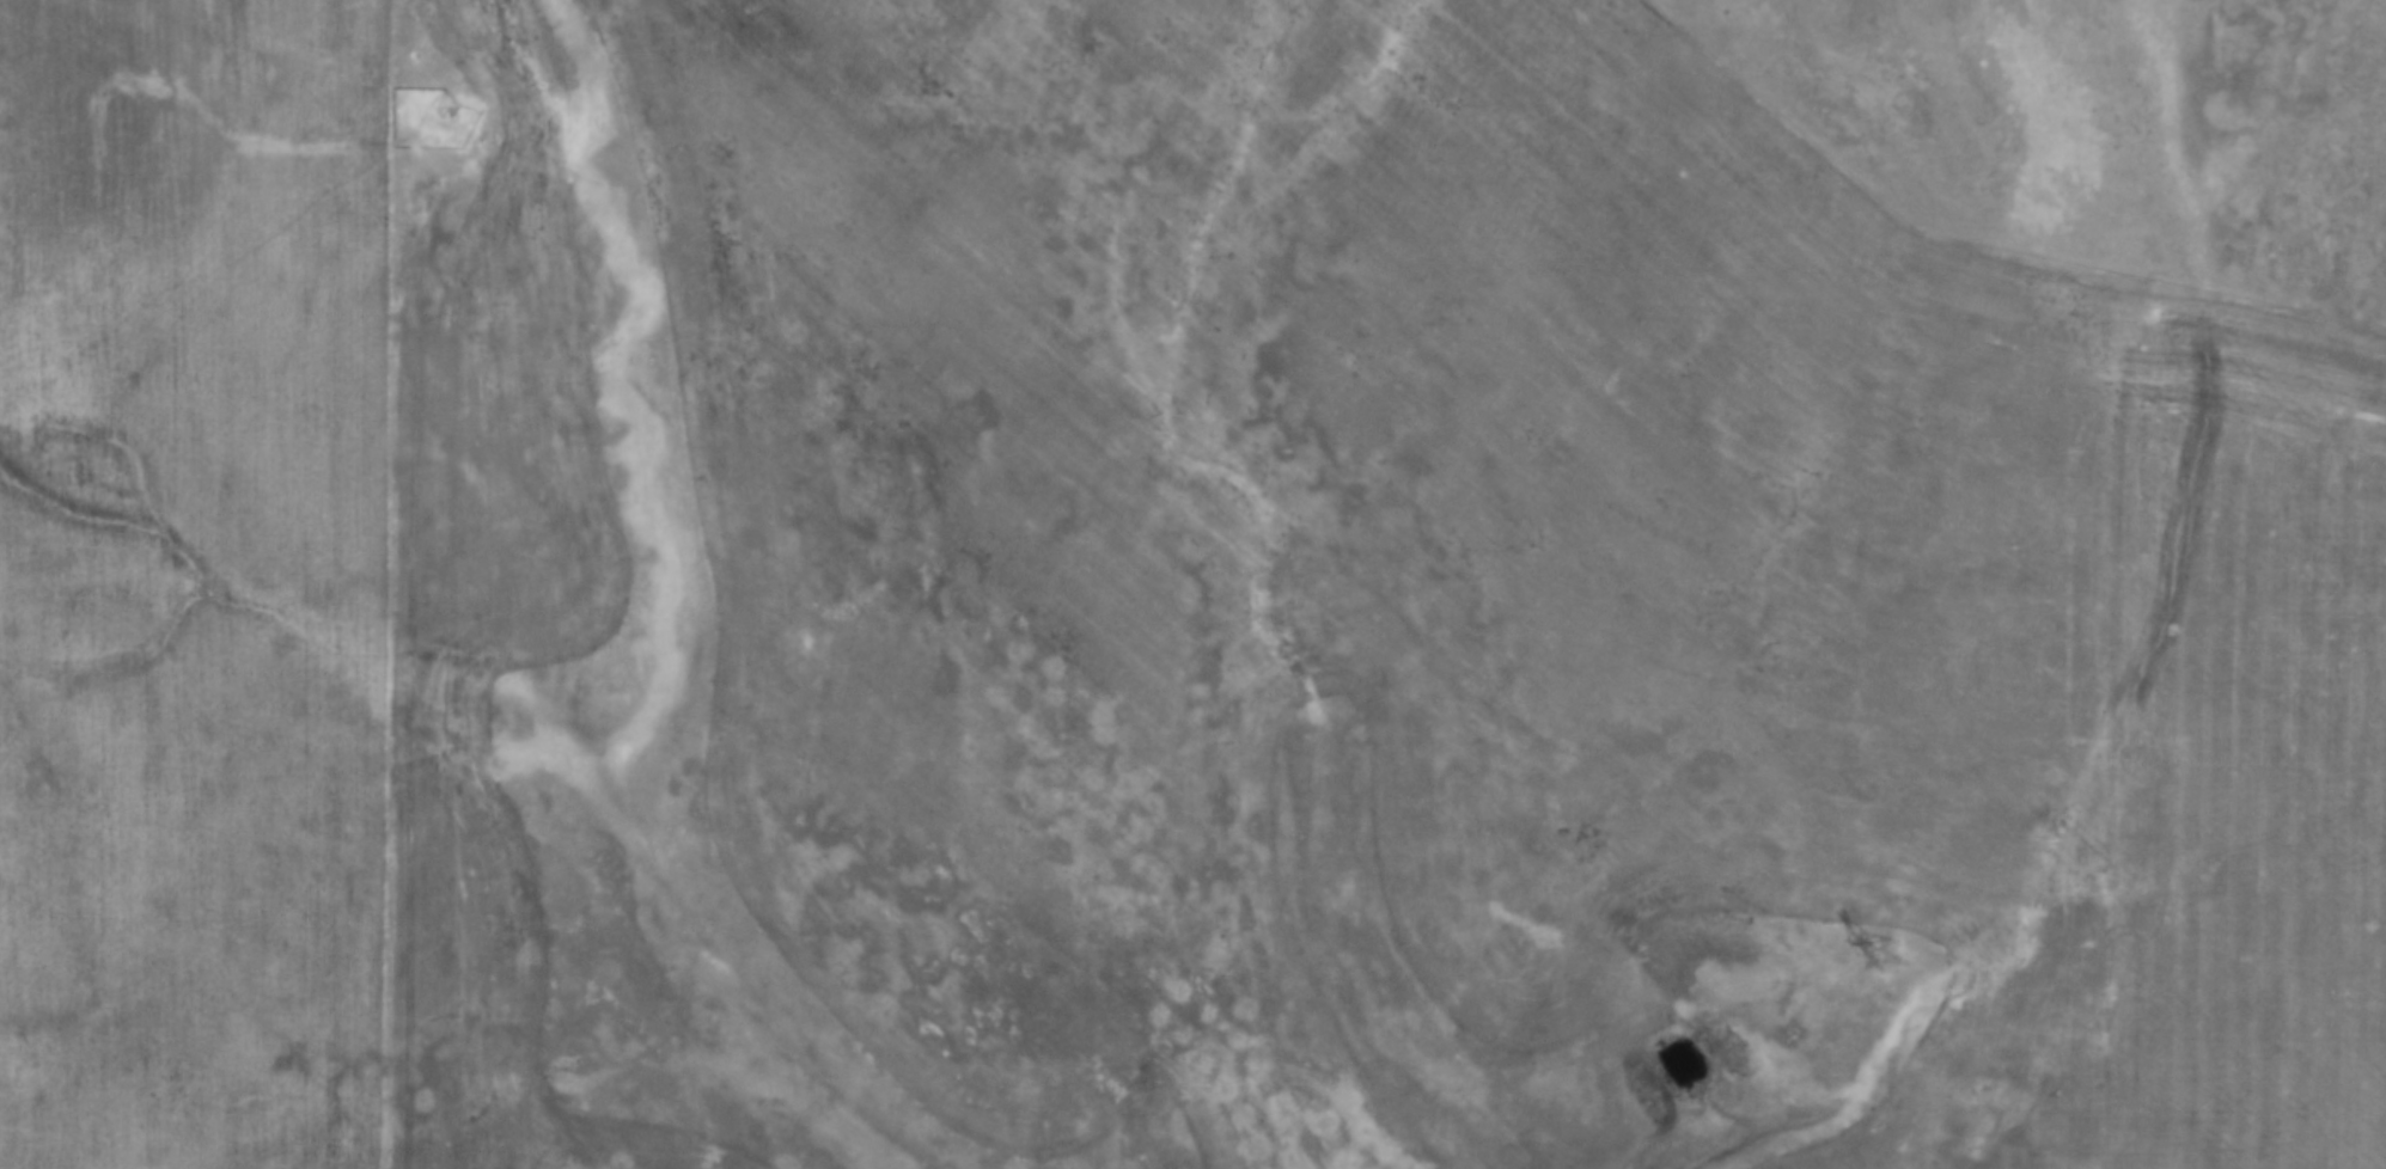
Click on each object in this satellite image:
power tower: (1899, 955)

